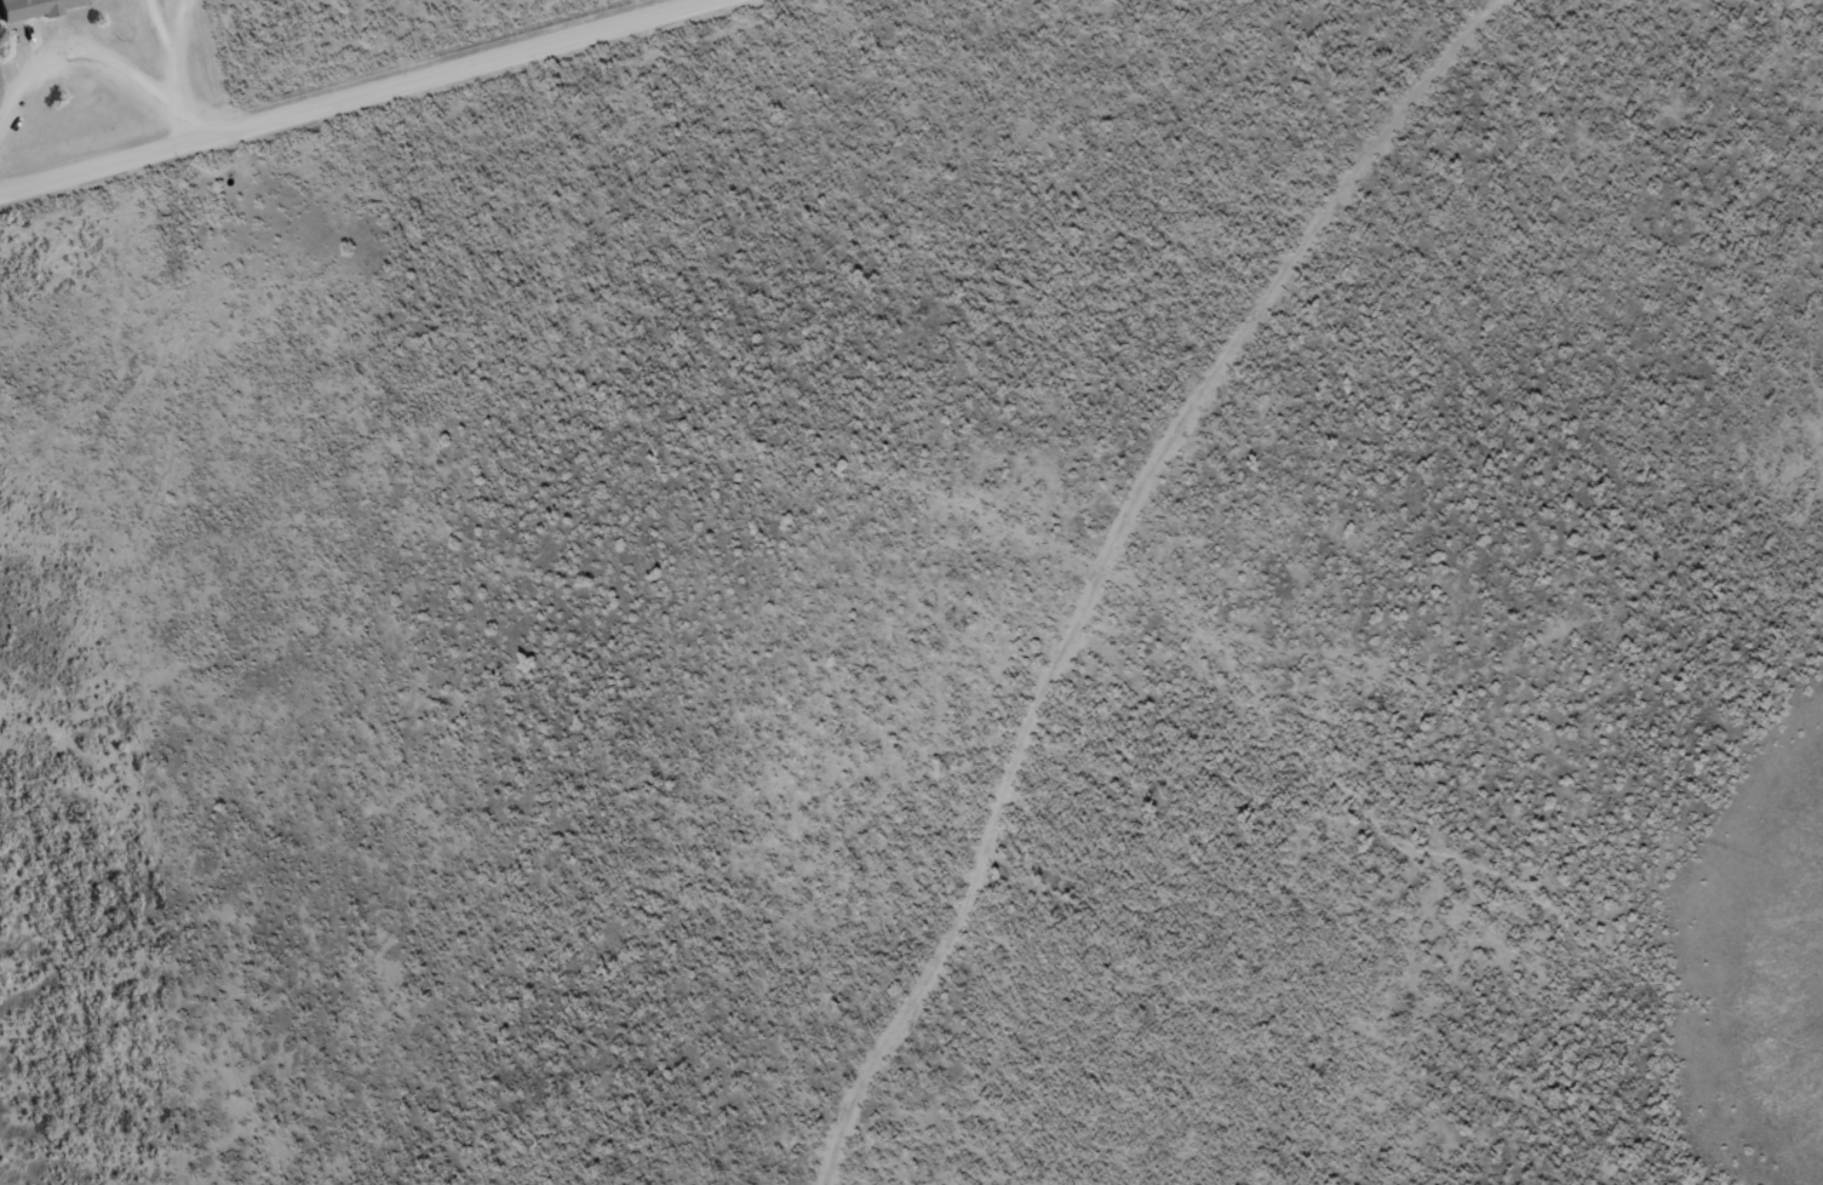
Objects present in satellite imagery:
building: (34, 7)
road: (346, 95)

